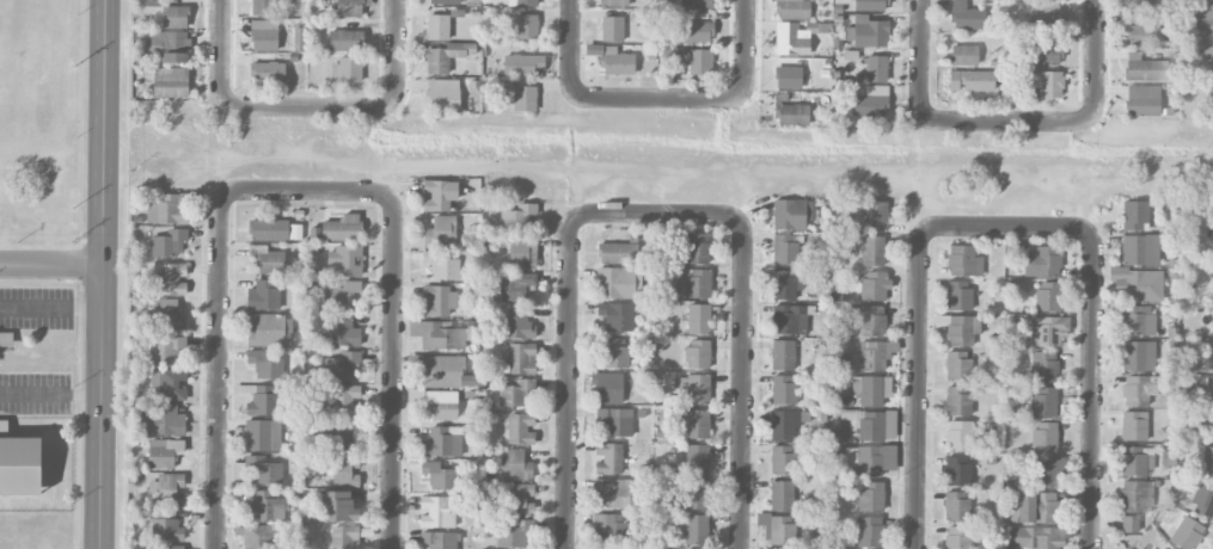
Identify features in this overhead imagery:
building: (443, 2)
building: (614, 2)
building: (698, 4)
building: (871, 5)
building: (1140, 5)
building: (263, 7)
building: (351, 7)
building: (792, 10)
building: (1044, 14)
building: (174, 17)
building: (967, 17)
building: (1201, 20)
building: (437, 27)
building: (527, 27)
building: (612, 29)
building: (696, 31)
building: (869, 32)
building: (1141, 35)
building: (264, 36)
building: (791, 39)
building: (345, 41)
building: (171, 45)
road: (745, 47)
road: (398, 49)
road: (571, 49)
road: (221, 50)
building: (963, 55)
building: (1044, 55)
building: (446, 57)
road: (920, 57)
building: (1208, 57)
road: (1099, 58)
building: (690, 60)
building: (617, 62)
building: (523, 64)
building: (1145, 68)
building: (347, 69)
building: (876, 69)
building: (268, 73)
building: (788, 78)
building: (972, 81)
building: (170, 82)
building: (1049, 84)
building: (442, 94)
building: (525, 99)
road: (663, 100)
building: (870, 100)
building: (1142, 100)
road: (310, 111)
building: (790, 112)
road: (1009, 121)
road: (306, 190)
building: (439, 196)
building: (166, 210)
road: (658, 212)
building: (792, 214)
building: (875, 216)
building: (1135, 216)
building: (517, 217)
road: (1005, 227)
building: (342, 229)
building: (269, 230)
building: (441, 232)
building: (167, 243)
building: (698, 248)
building: (785, 248)
building: (872, 251)
building: (1140, 251)
building: (1211, 251)
building: (618, 253)
building: (523, 254)
building: (268, 260)
building: (345, 260)
building: (963, 261)
building: (1042, 261)
road: (50, 265)
building: (442, 266)
road: (102, 273)
building: (172, 279)
building: (619, 284)
building: (698, 284)
building: (1138, 284)
building: (784, 285)
building: (515, 286)
building: (875, 286)
building: (264, 296)
building: (343, 296)
building: (958, 296)
building: (1048, 296)
building: (440, 301)
road: (50, 308)
building: (170, 315)
building: (618, 316)
building: (699, 319)
building: (789, 320)
building: (869, 321)
building: (1138, 321)
building: (519, 325)
building: (269, 329)
building: (956, 329)
building: (1050, 331)
building: (343, 332)
building: (437, 335)
building: (6, 340)
building: (166, 350)
building: (698, 353)
building: (613, 354)
building: (876, 354)
building: (783, 356)
building: (1135, 356)
building: (520, 358)
building: (265, 365)
building: (341, 365)
building: (958, 365)
road: (219, 366)
building: (1043, 366)
road: (393, 368)
building: (442, 371)
road: (569, 380)
road: (743, 382)
building: (170, 384)
road: (917, 385)
road: (1092, 385)
building: (609, 388)
building: (698, 389)
building: (784, 389)
building: (871, 389)
building: (1140, 390)
building: (516, 393)
road: (50, 395)
building: (345, 400)
building: (264, 401)
building: (958, 401)
building: (1043, 401)
building: (1212, 414)
building: (161, 421)
building: (615, 421)
building: (871, 424)
building: (693, 425)
building: (784, 425)
building: (1134, 426)
building: (4, 428)
building: (521, 428)
building: (840, 434)
building: (263, 436)
building: (344, 436)
building: (960, 436)
building: (1044, 437)
building: (443, 442)
building: (163, 452)
building: (608, 458)
building: (697, 459)
building: (783, 461)
building: (876, 461)
building: (1137, 461)
building: (1208, 462)
building: (516, 465)
building: (20, 467)
building: (264, 470)
building: (345, 471)
building: (957, 471)
building: (1048, 471)
building: (440, 476)
building: (169, 489)
building: (615, 492)
building: (696, 494)
building: (783, 495)
building: (871, 496)
building: (1135, 496)
building: (519, 499)
building: (1202, 500)
building: (956, 505)
building: (265, 507)
building: (336, 507)
building: (1031, 507)
building: (437, 512)
building: (1129, 524)
park: (35, 528)
building: (166, 528)
building: (609, 529)
building: (696, 530)
building: (782, 531)
building: (869, 531)
building: (515, 533)
building: (1187, 533)
building: (258, 537)
building: (344, 537)
building: (958, 537)
building: (1034, 537)
building: (440, 539)
building: (174, 547)
building: (605, 548)
building: (1166, 548)

